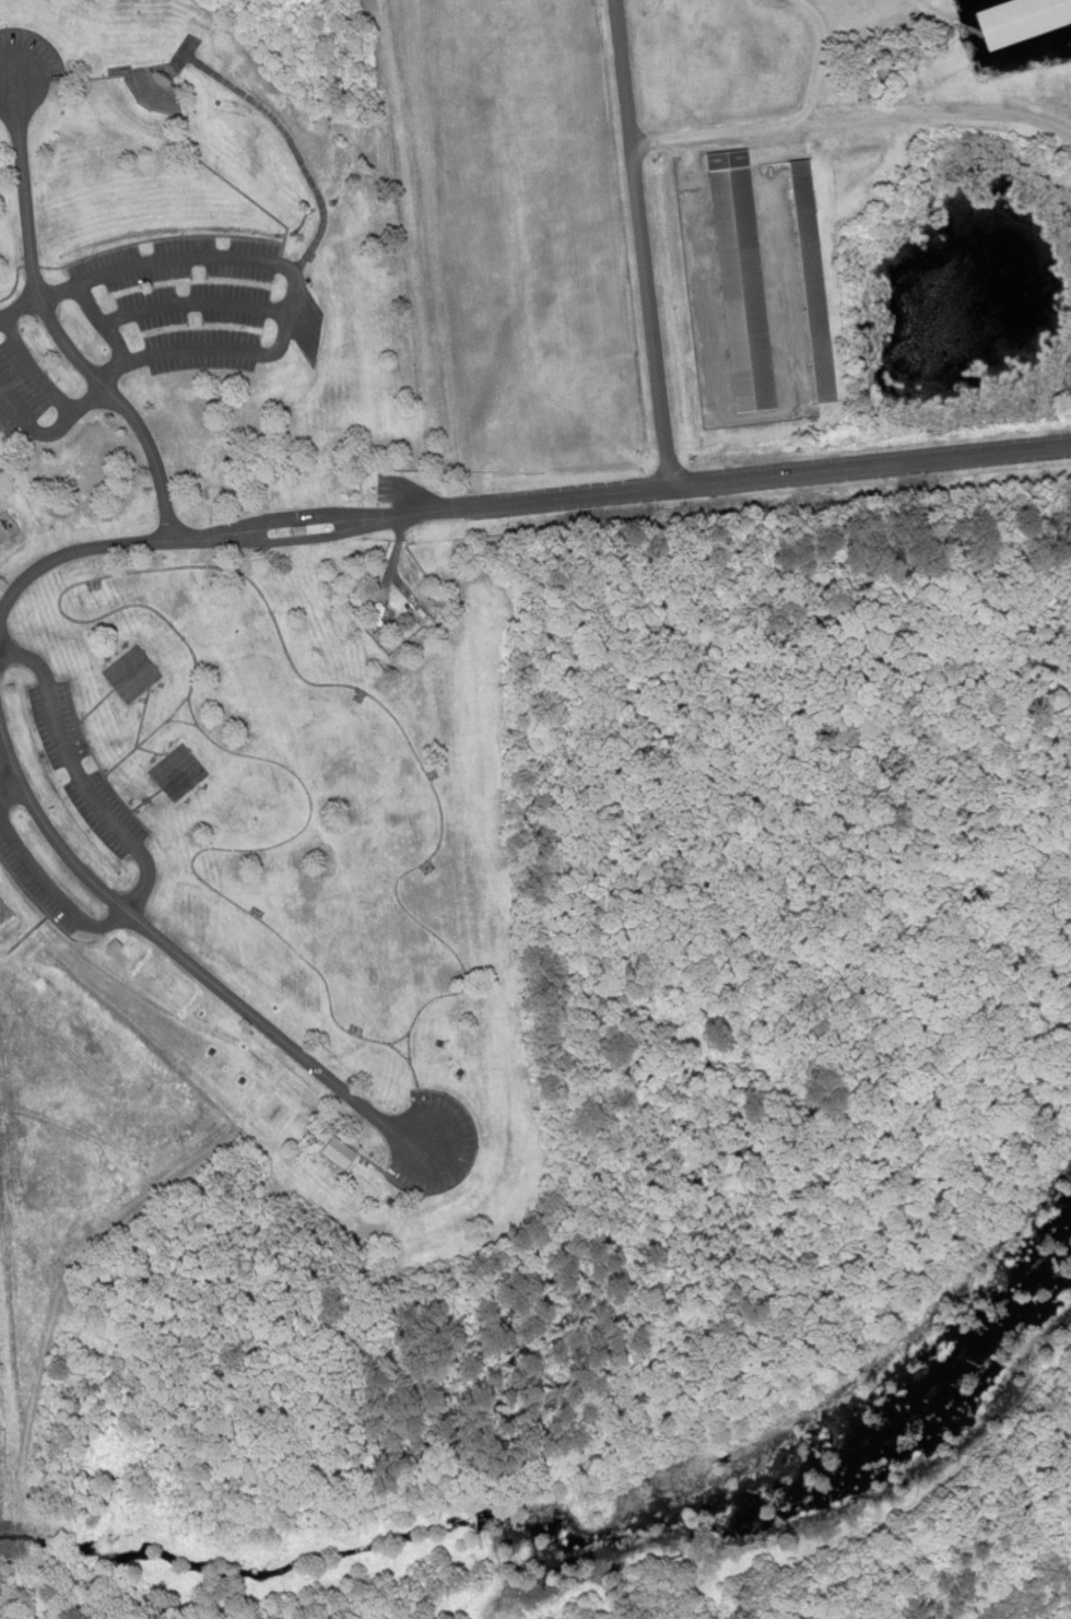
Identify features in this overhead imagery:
building: (1020, 17)
road: (820, 58)
building: (152, 86)
road: (851, 121)
road: (637, 242)
building: (740, 281)
building: (812, 283)
parking lot: (180, 298)
road: (190, 303)
road: (45, 320)
road: (281, 320)
road: (98, 324)
road: (32, 371)
parking lot: (16, 395)
road: (827, 464)
road: (279, 531)
park: (249, 642)
park: (122, 664)
park: (136, 680)
park: (167, 763)
parking lot: (79, 766)
road: (134, 849)
road: (179, 961)
building: (337, 1151)

